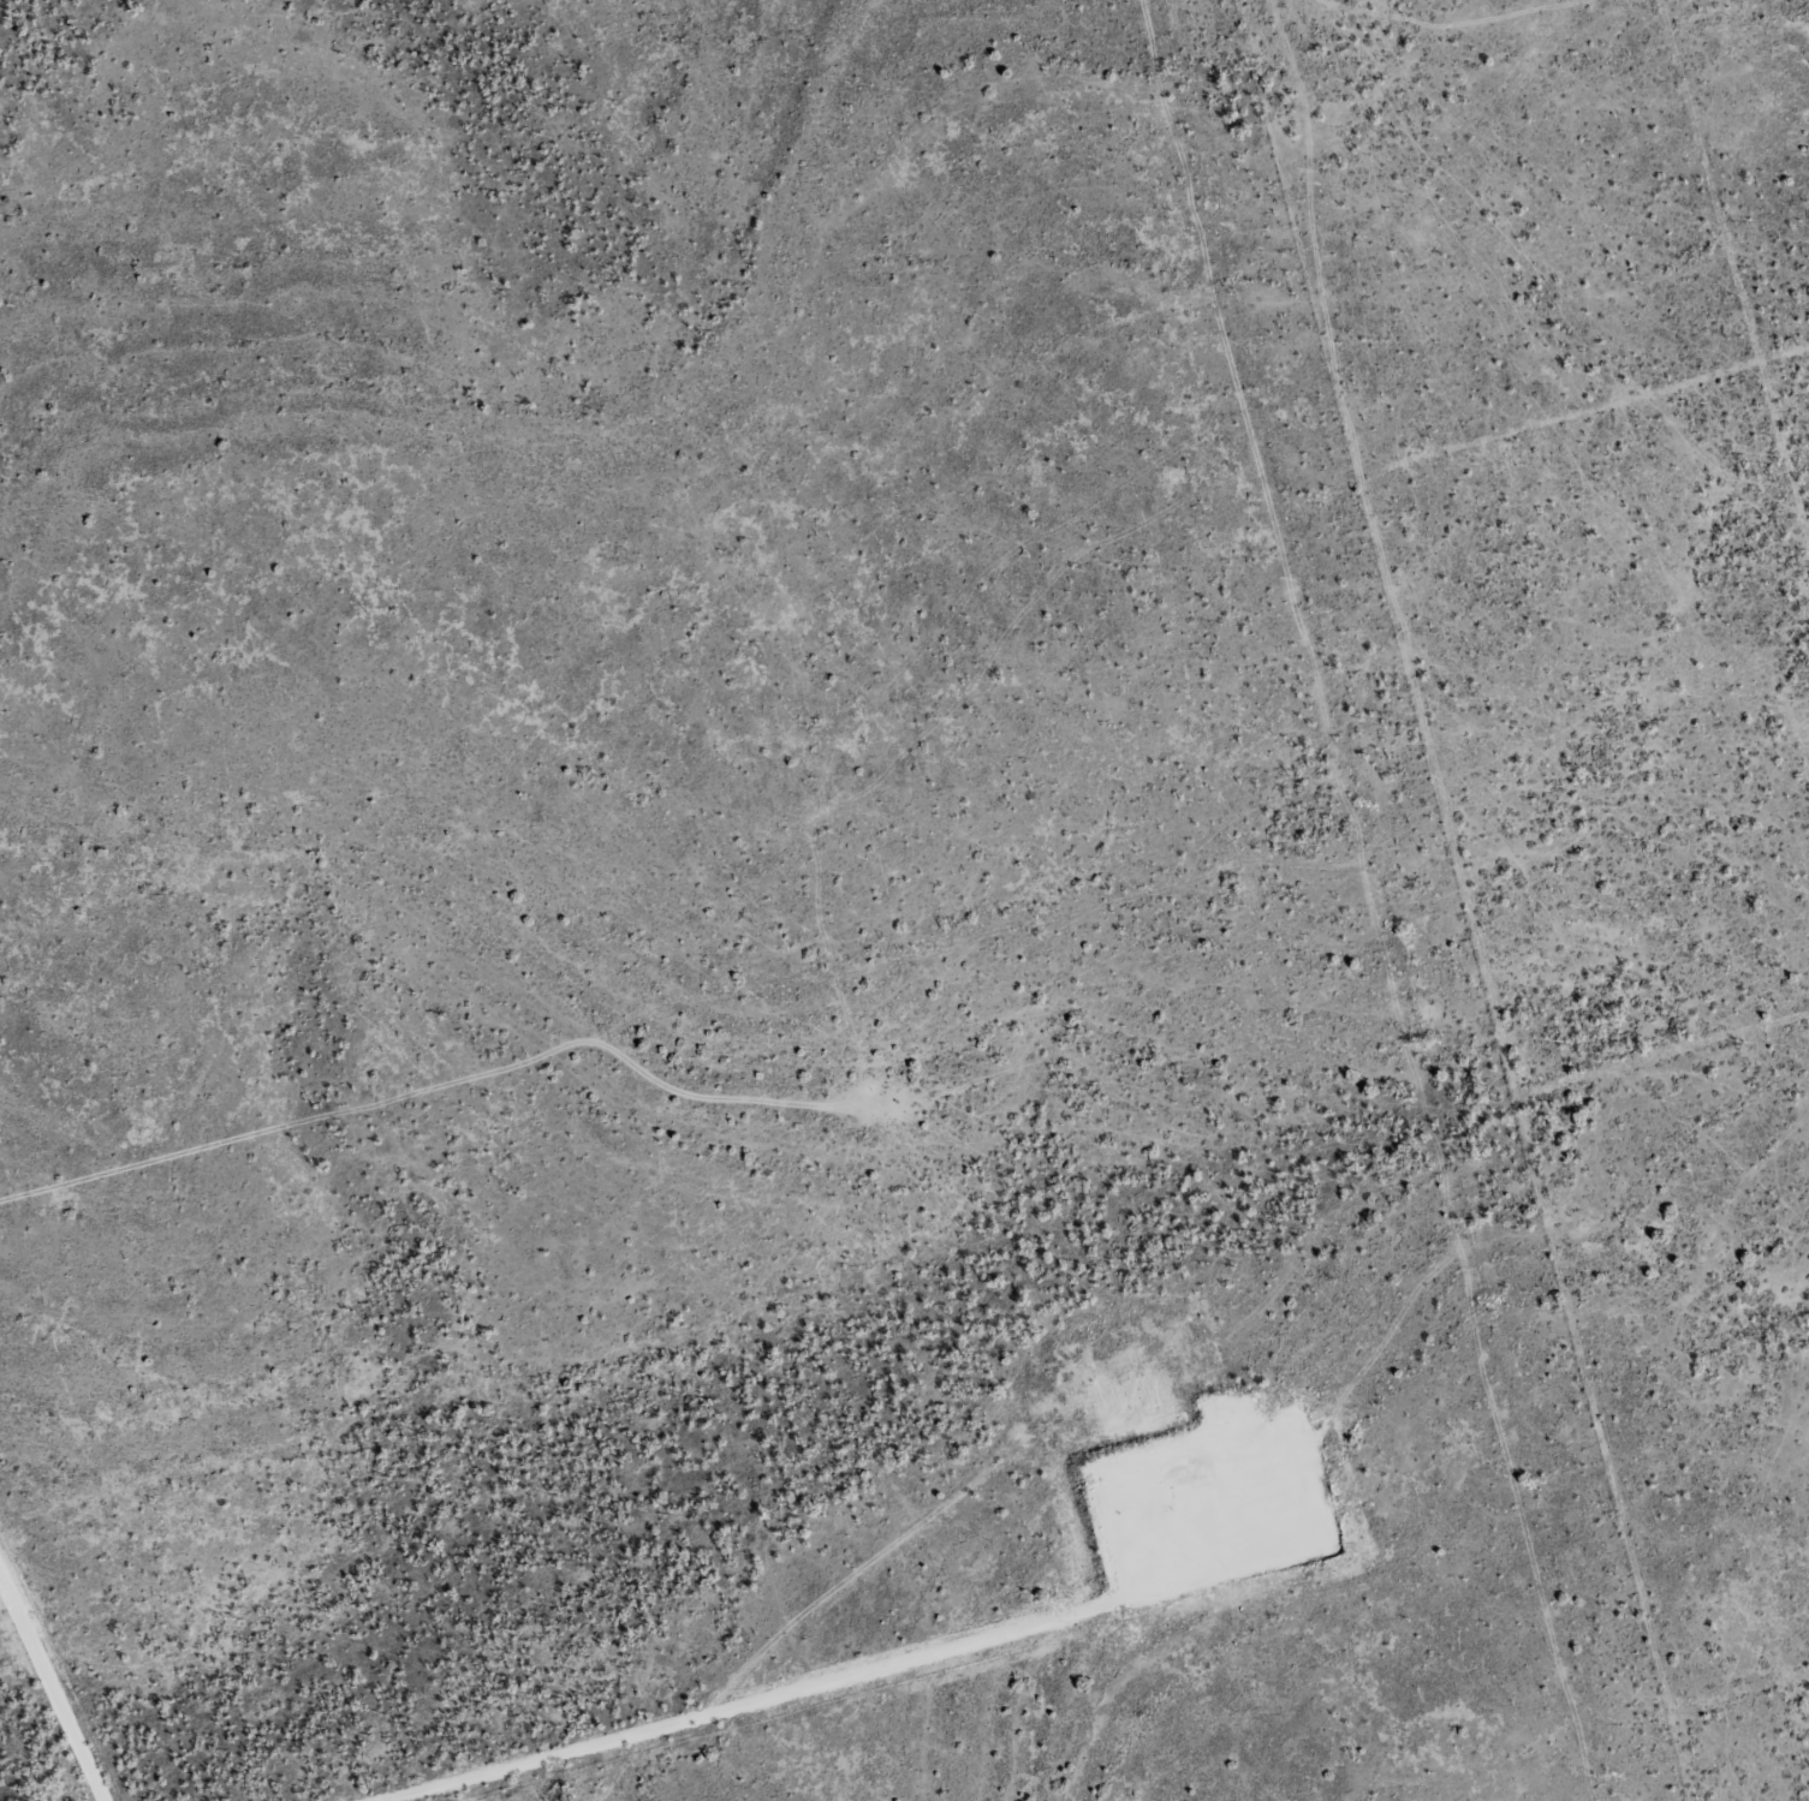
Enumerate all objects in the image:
road: (46, 1707)

